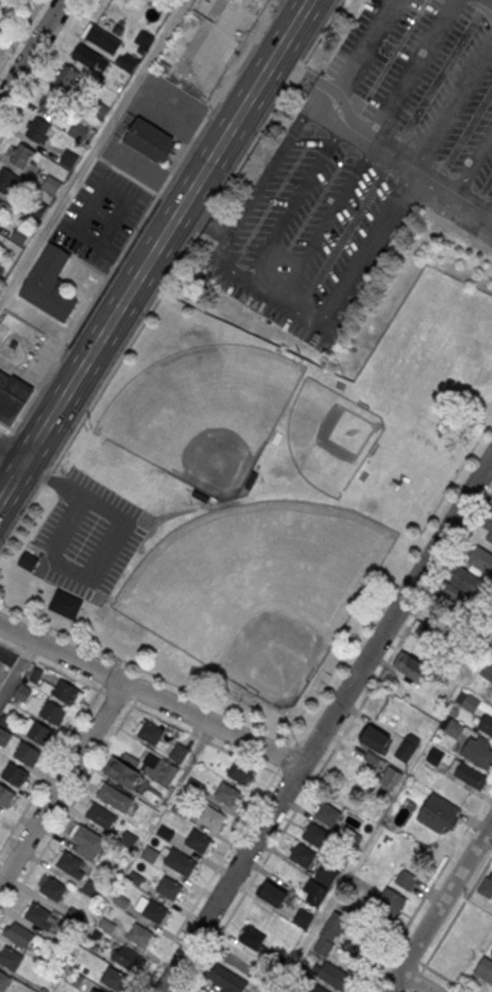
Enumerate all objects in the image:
road: (487, 0)
road: (302, 1)
road: (20, 33)
building: (102, 39)
building: (144, 39)
road: (32, 52)
building: (91, 59)
building: (129, 62)
road: (42, 68)
building: (68, 77)
building: (53, 104)
road: (367, 123)
building: (39, 130)
building: (150, 139)
road: (93, 151)
building: (23, 156)
building: (68, 158)
road: (275, 158)
building: (6, 181)
building: (51, 185)
building: (0, 202)
building: (38, 209)
road: (143, 217)
parking lot: (100, 218)
road: (204, 224)
road: (165, 230)
building: (21, 235)
parking lot: (296, 237)
building: (3, 264)
road: (89, 265)
road: (71, 268)
road: (170, 275)
building: (51, 283)
road: (336, 301)
building: (16, 385)
building: (9, 405)
park: (204, 414)
road: (6, 423)
park: (331, 437)
road: (4, 442)
road: (11, 453)
road: (11, 479)
park: (265, 480)
building: (488, 527)
parking lot: (84, 539)
road: (109, 549)
building: (482, 560)
building: (29, 562)
building: (464, 582)
park: (259, 589)
building: (66, 605)
building: (424, 629)
road: (10, 647)
road: (26, 655)
building: (412, 666)
building: (487, 670)
road: (18, 671)
road: (155, 675)
road: (104, 679)
building: (67, 692)
road: (138, 695)
road: (149, 695)
building: (471, 703)
building: (53, 713)
road: (156, 716)
road: (326, 723)
building: (486, 724)
building: (453, 727)
building: (150, 732)
building: (41, 733)
building: (4, 737)
building: (376, 740)
road: (292, 742)
road: (337, 742)
building: (407, 747)
building: (179, 752)
building: (478, 752)
building: (27, 754)
road: (284, 755)
building: (435, 756)
road: (51, 767)
building: (142, 770)
building: (241, 772)
building: (15, 775)
building: (469, 775)
road: (286, 776)
building: (390, 777)
road: (61, 783)
building: (228, 794)
building: (6, 796)
building: (115, 798)
road: (67, 808)
building: (439, 813)
building: (328, 815)
building: (100, 816)
building: (213, 818)
building: (315, 835)
building: (86, 838)
building: (199, 842)
building: (151, 854)
building: (303, 856)
building: (70, 863)
building: (181, 863)
road: (209, 878)
building: (406, 879)
building: (320, 884)
building: (92, 888)
building: (54, 889)
building: (169, 889)
road: (428, 889)
building: (272, 895)
building: (391, 900)
road: (439, 906)
building: (155, 912)
road: (456, 914)
building: (38, 915)
road: (324, 915)
building: (303, 917)
building: (331, 934)
building: (19, 935)
building: (140, 935)
building: (252, 939)
building: (127, 957)
road: (413, 958)
building: (11, 959)
building: (485, 970)
building: (334, 976)
road: (443, 976)
building: (114, 979)
building: (227, 979)
road: (415, 980)
building: (4, 981)
road: (413, 982)
building: (316, 989)
road: (394, 989)
building: (98, 990)
road: (408, 990)

